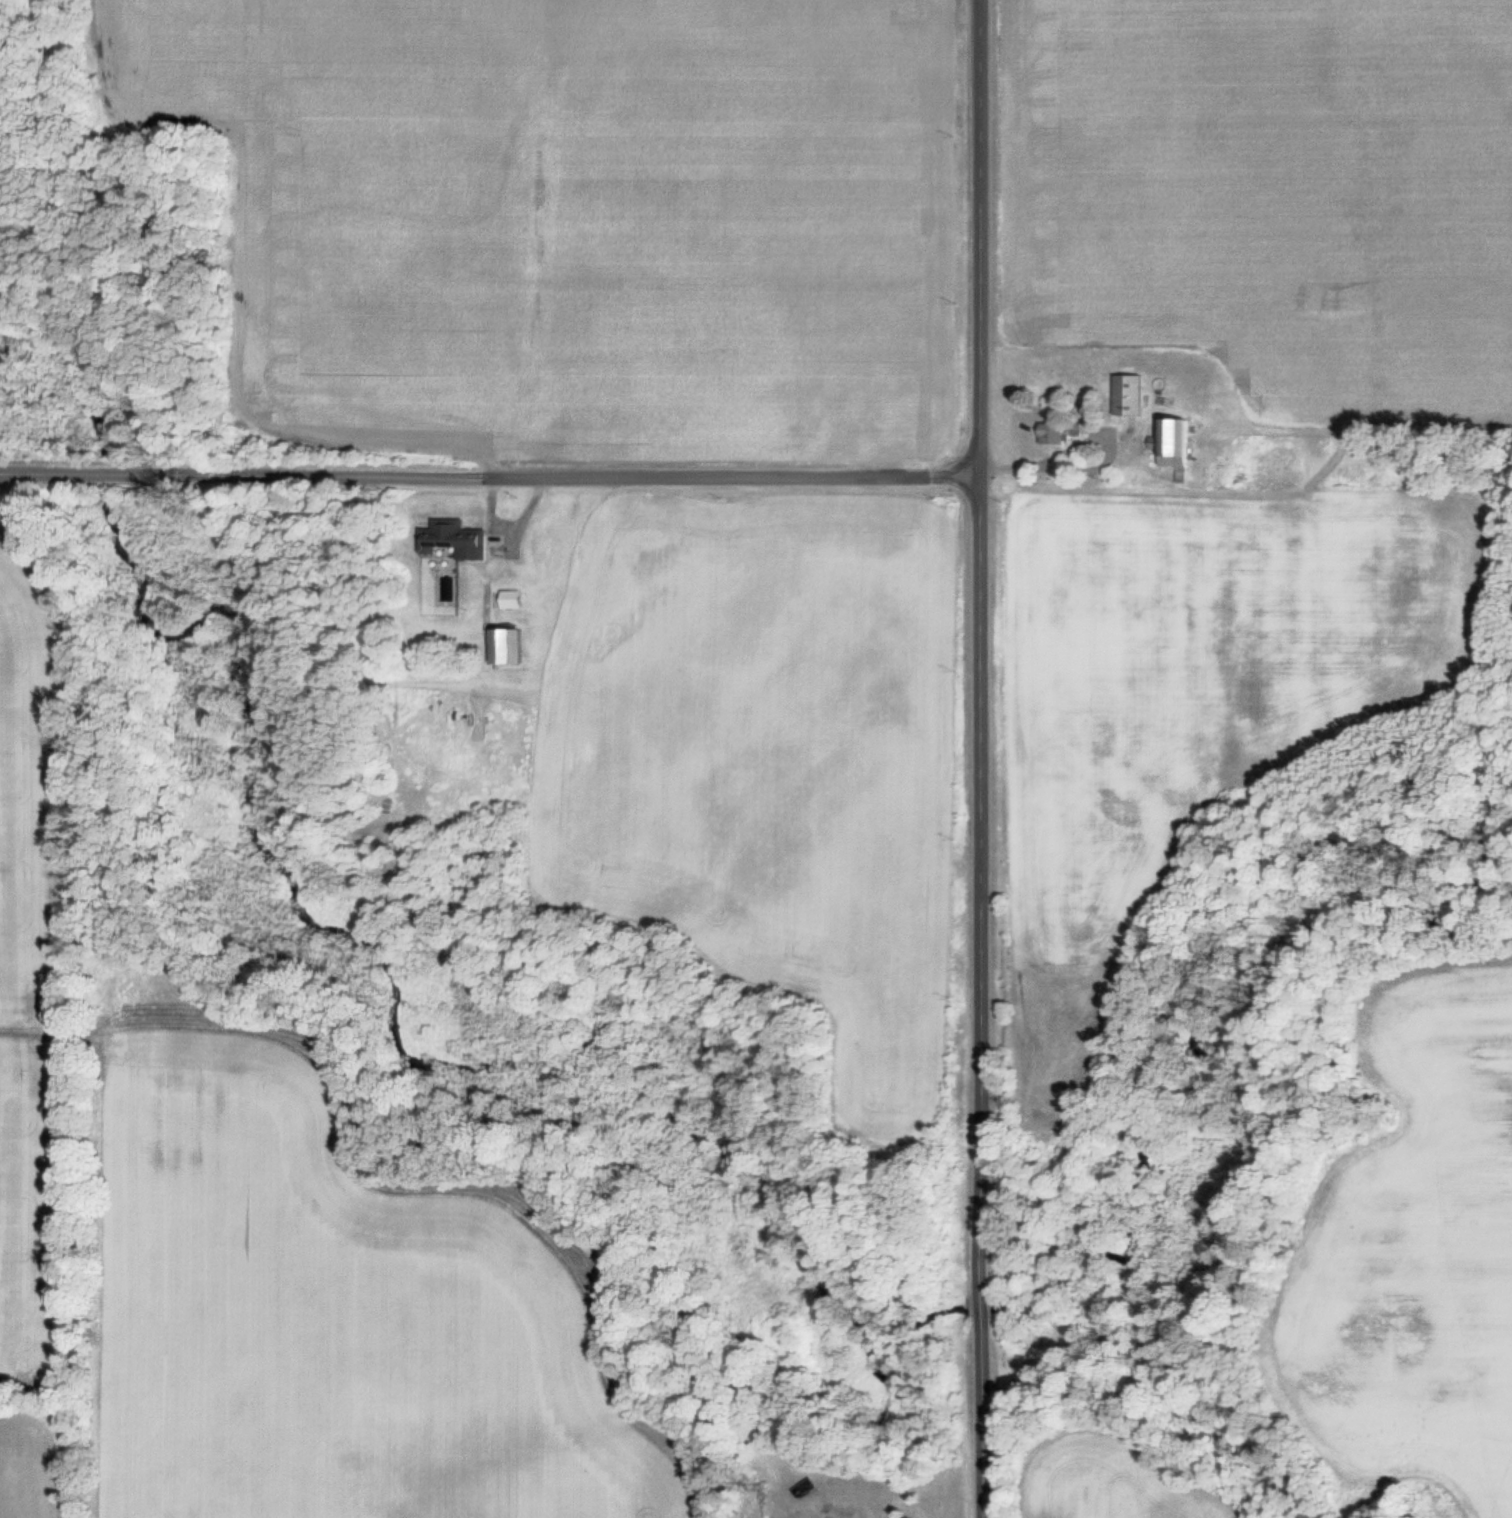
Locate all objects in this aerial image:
building: (1133, 394)
building: (1066, 429)
building: (1179, 445)
road: (483, 465)
building: (461, 539)
building: (517, 599)
building: (514, 647)
road: (966, 758)

